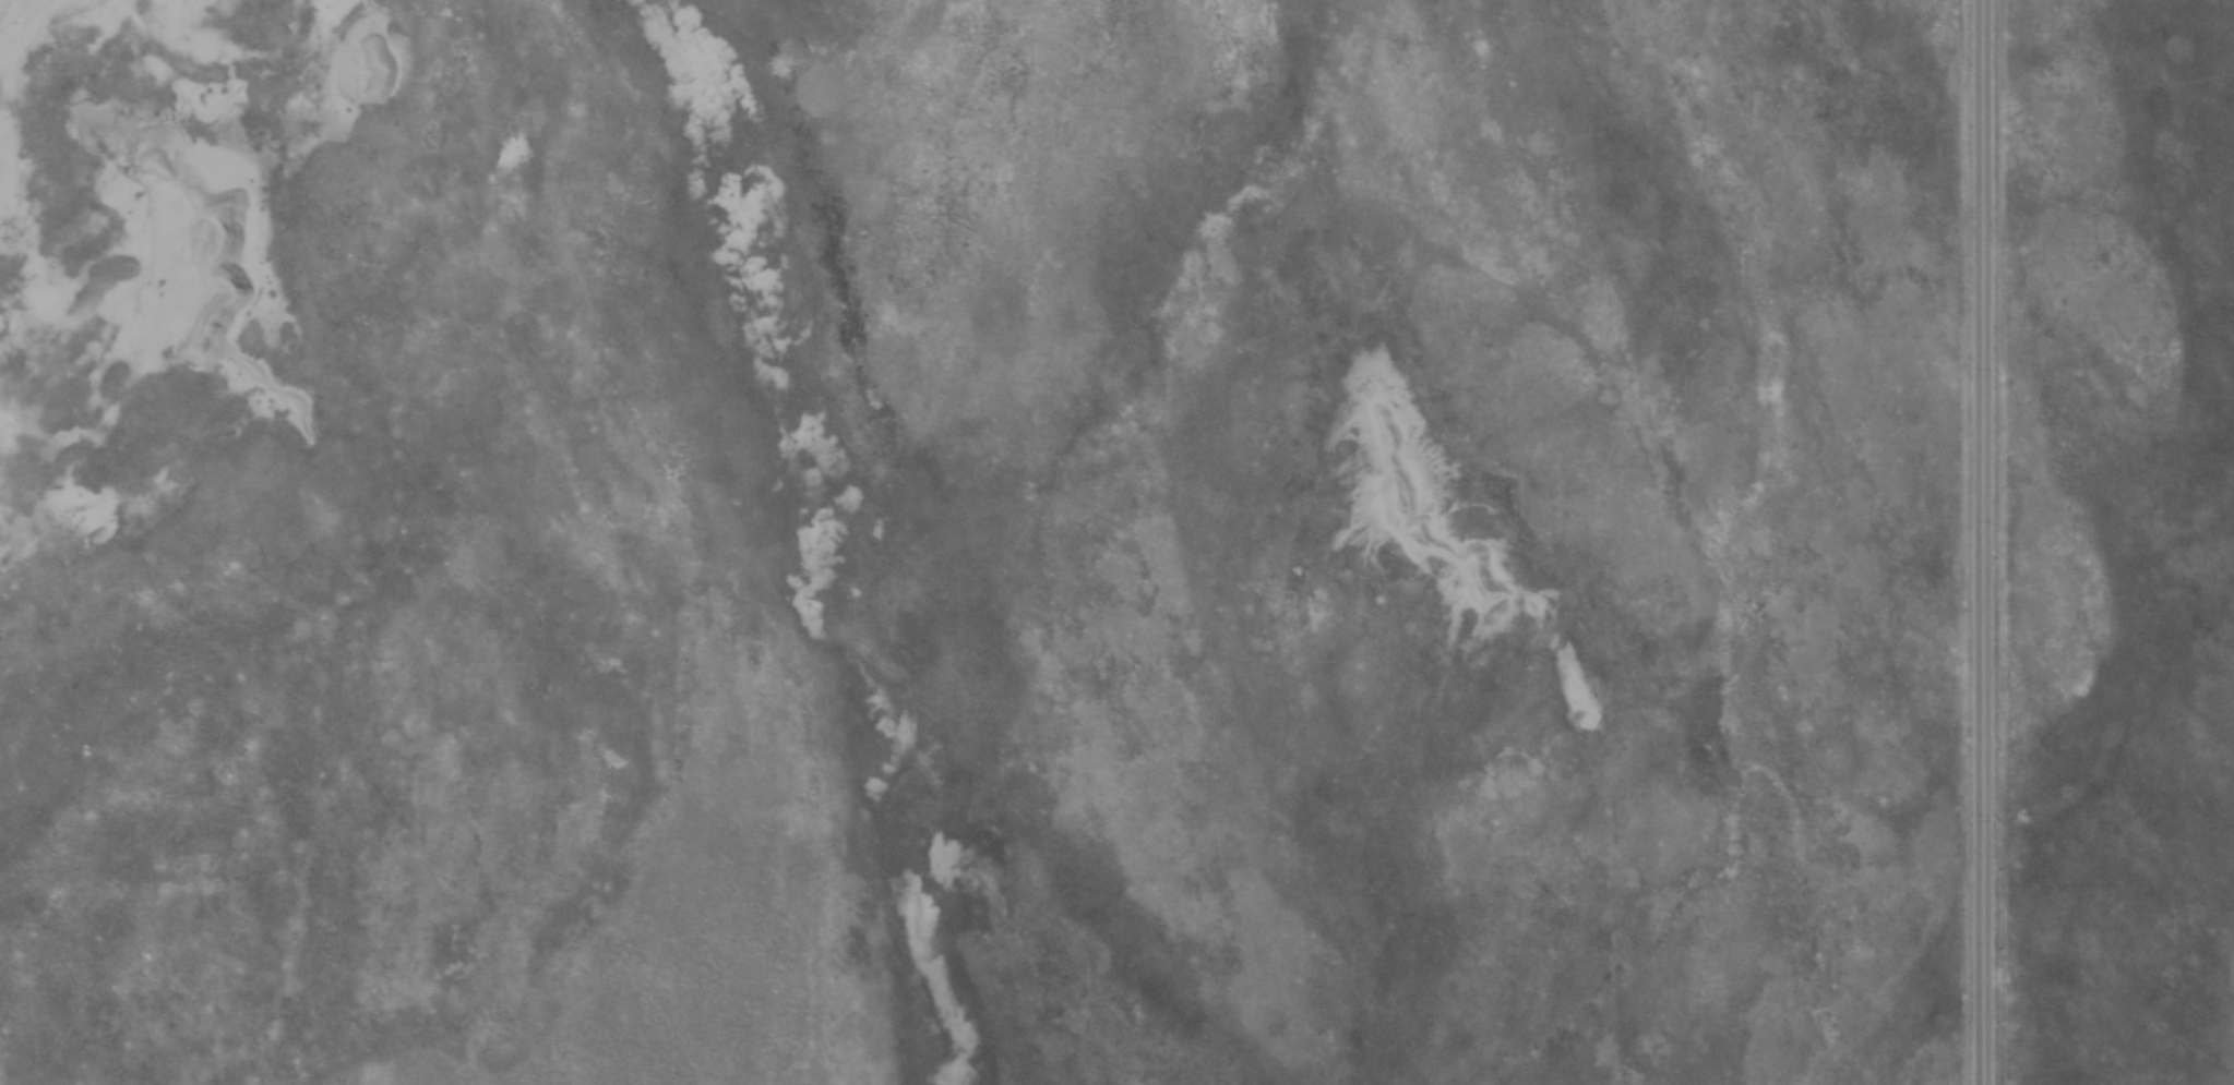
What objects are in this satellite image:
road: (1980, 542)

